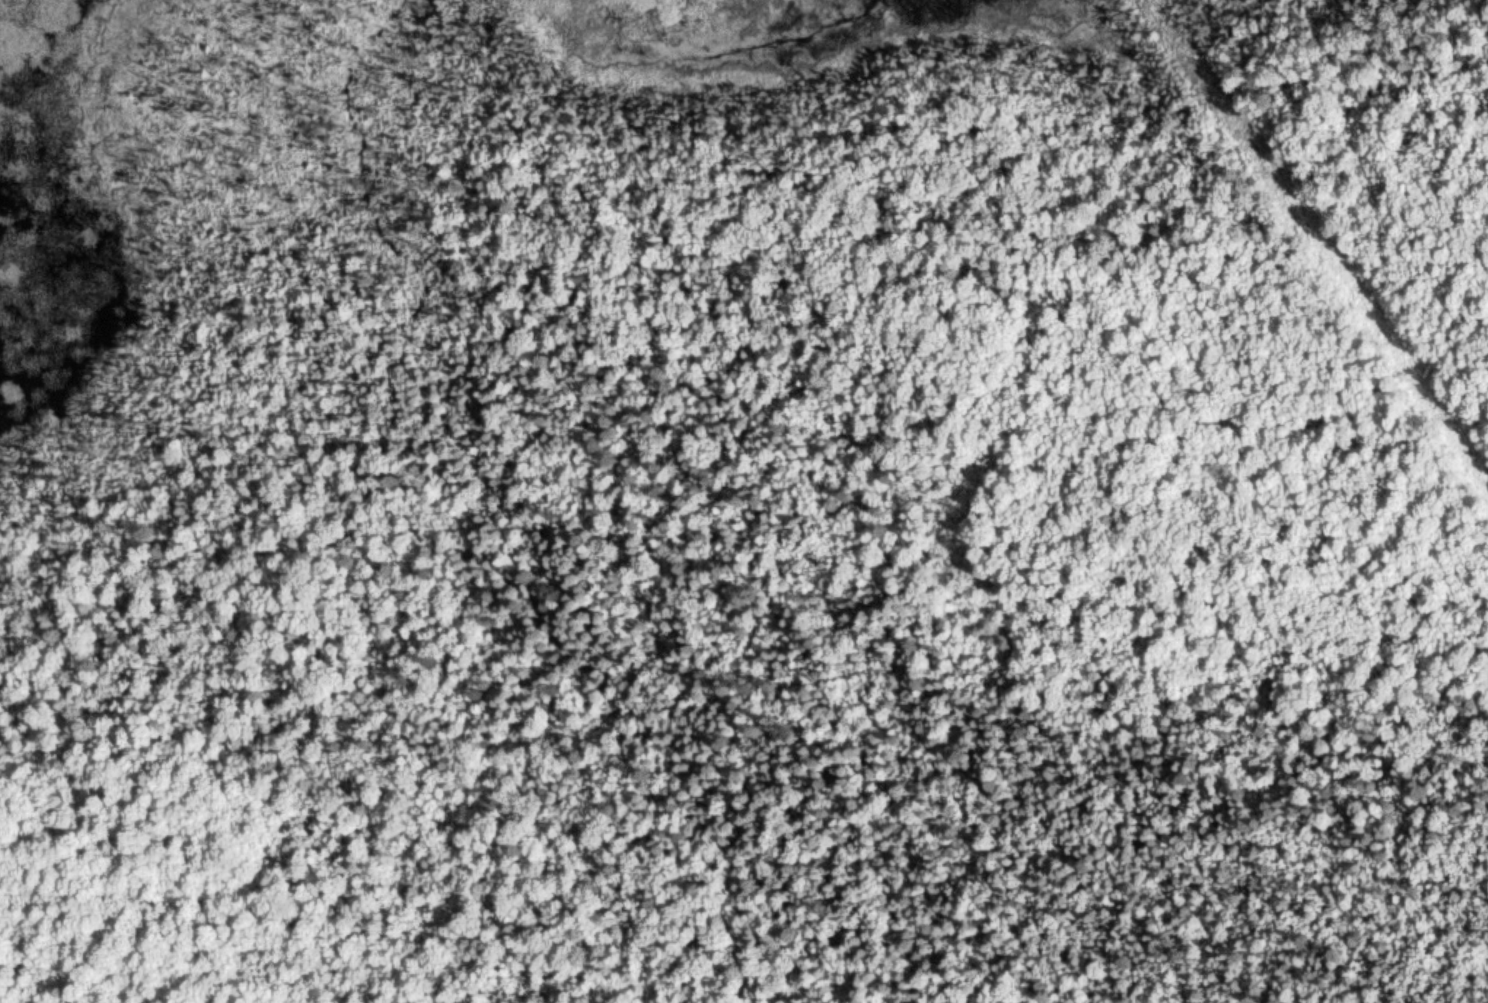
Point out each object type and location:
road: (1303, 213)
road: (15, 942)

